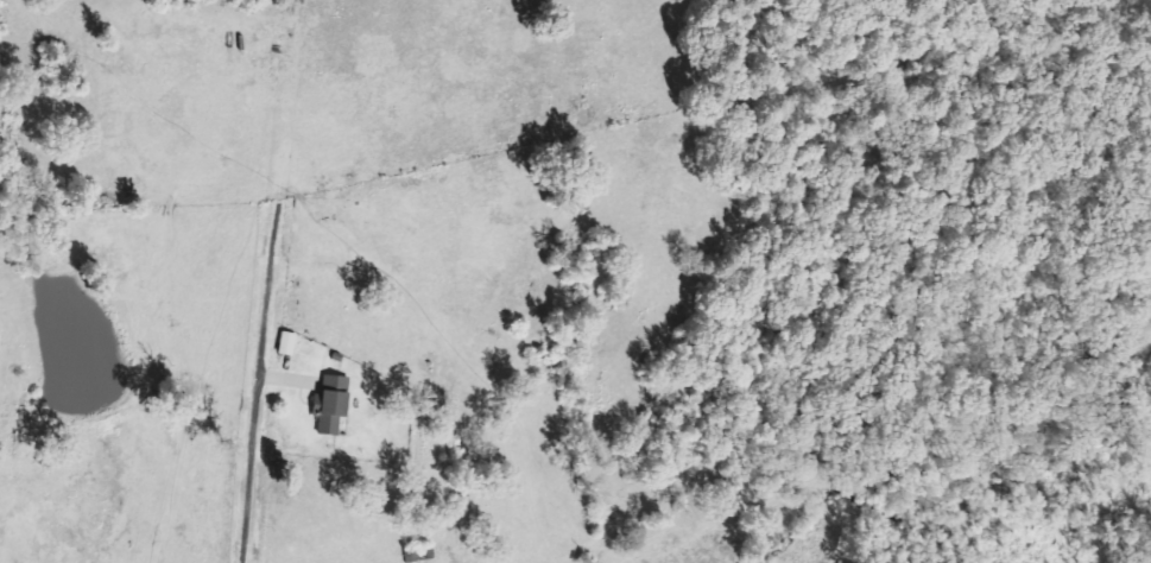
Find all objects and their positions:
building: (284, 342)
building: (327, 404)

